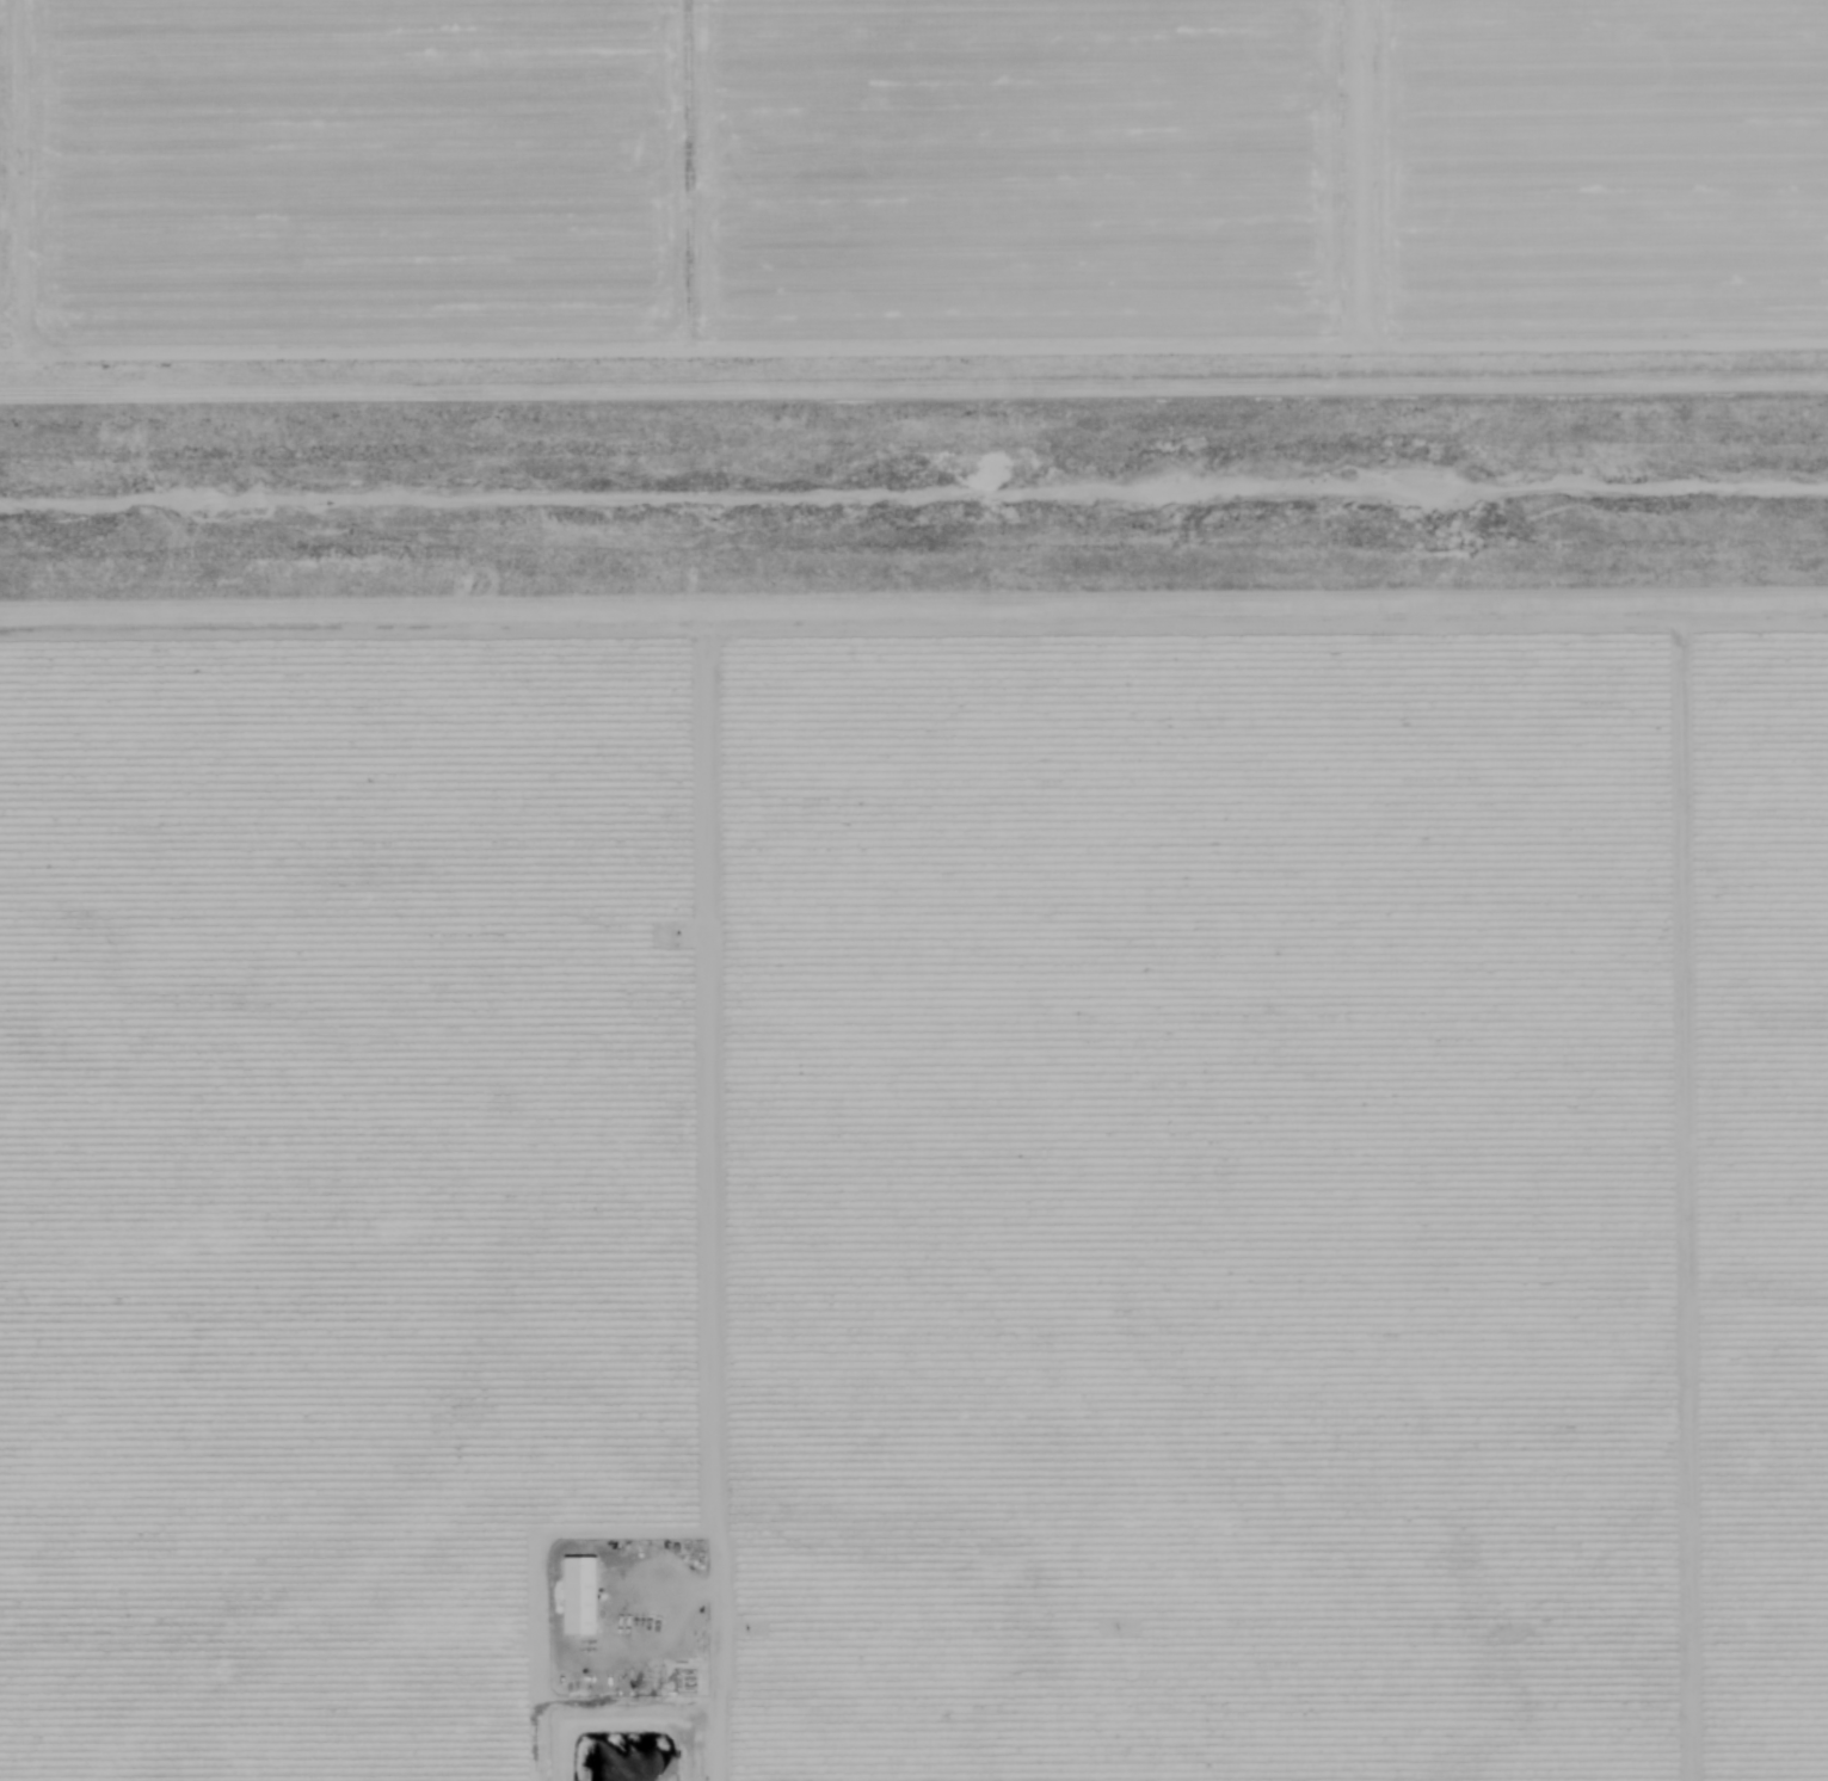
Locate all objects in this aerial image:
crop: (907, 218)
river: (1775, 499)
river: (862, 511)
road: (913, 615)
road: (720, 1198)
building: (572, 1565)
road: (534, 1621)

